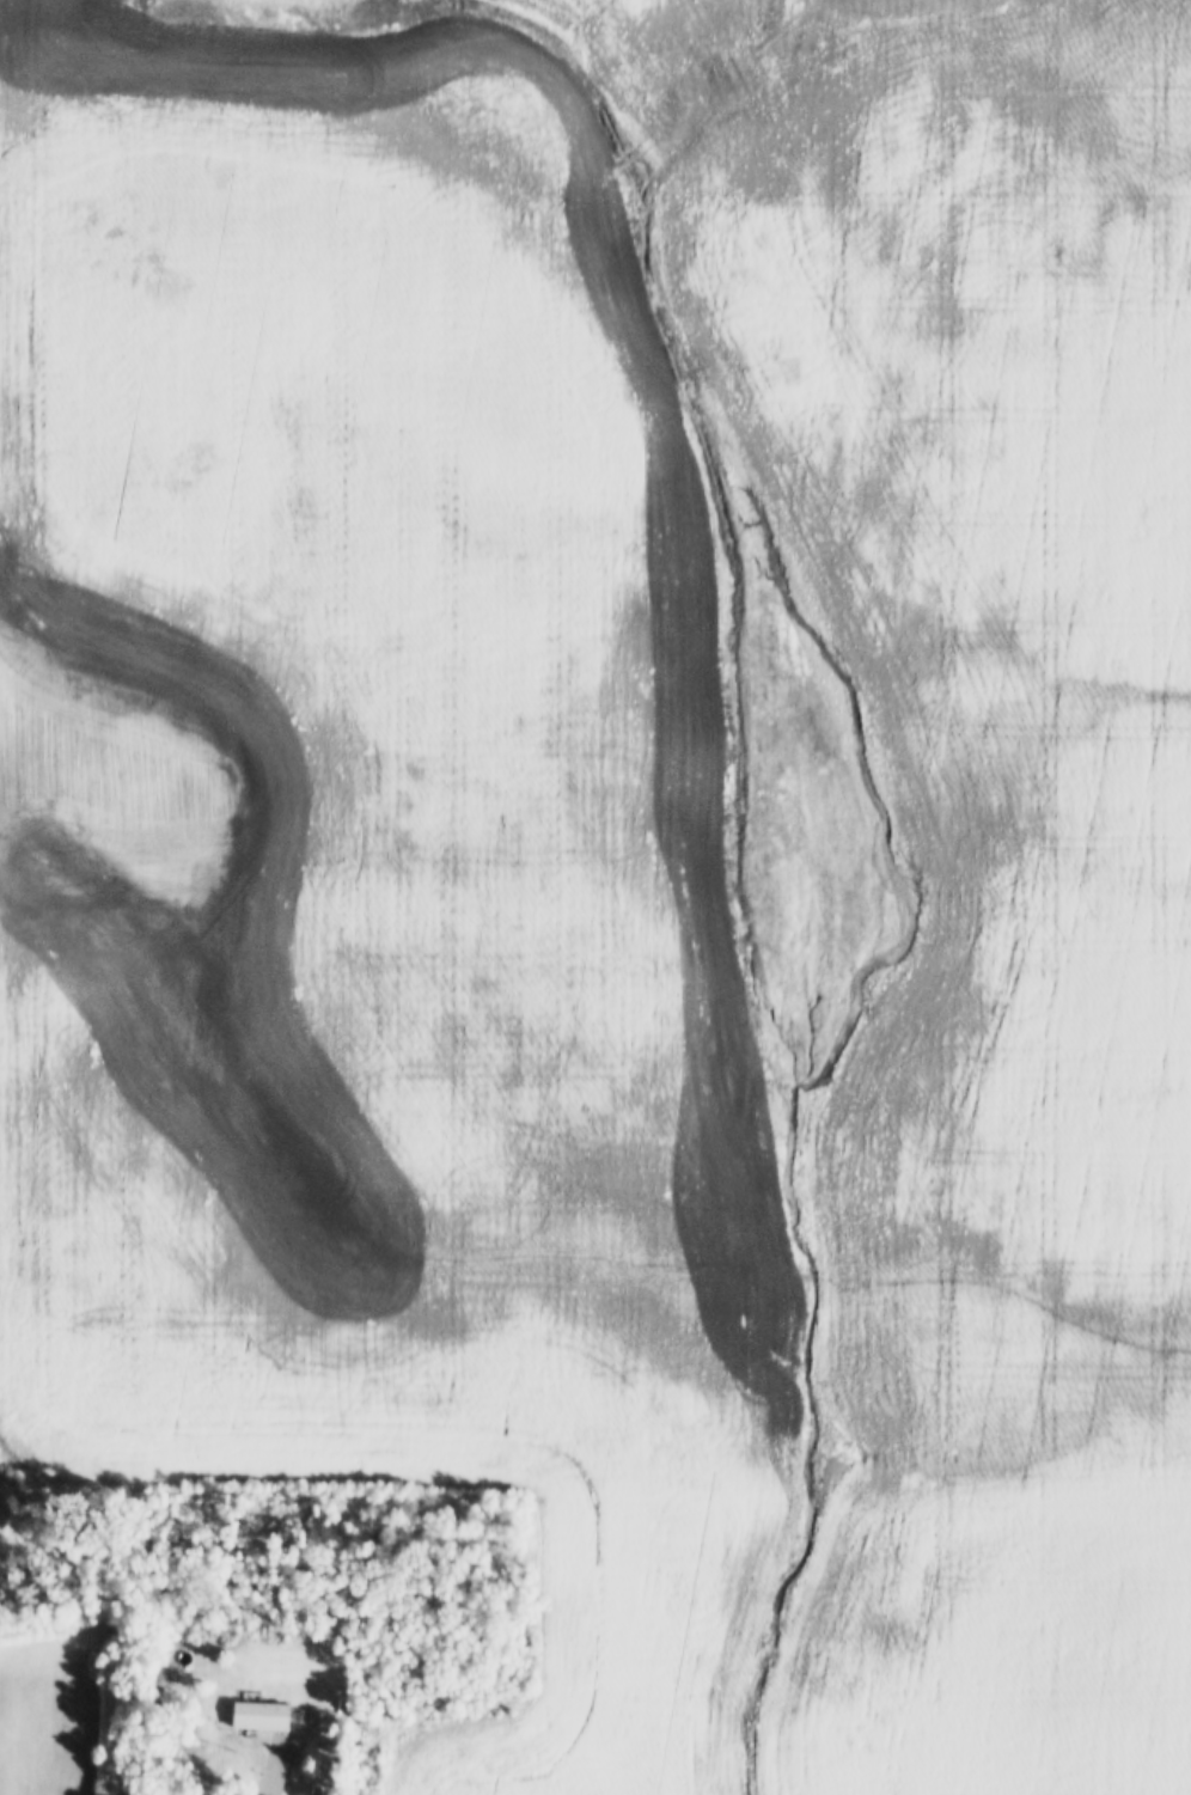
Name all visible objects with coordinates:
building: (279, 1715)
road: (262, 1785)

